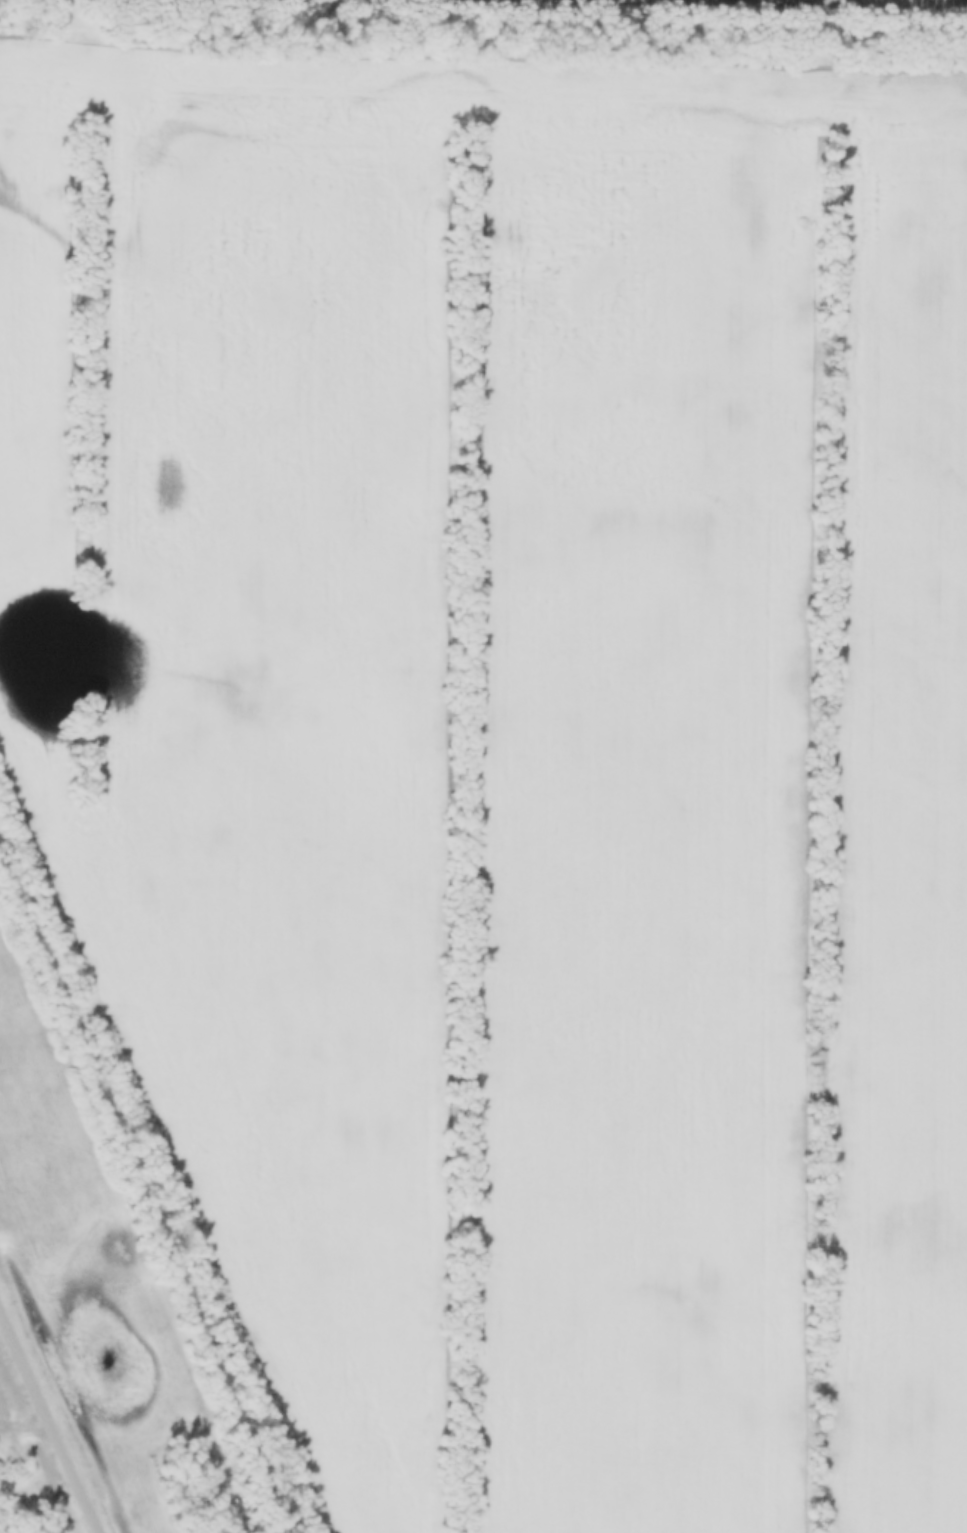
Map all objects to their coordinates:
road: (47, 1426)

